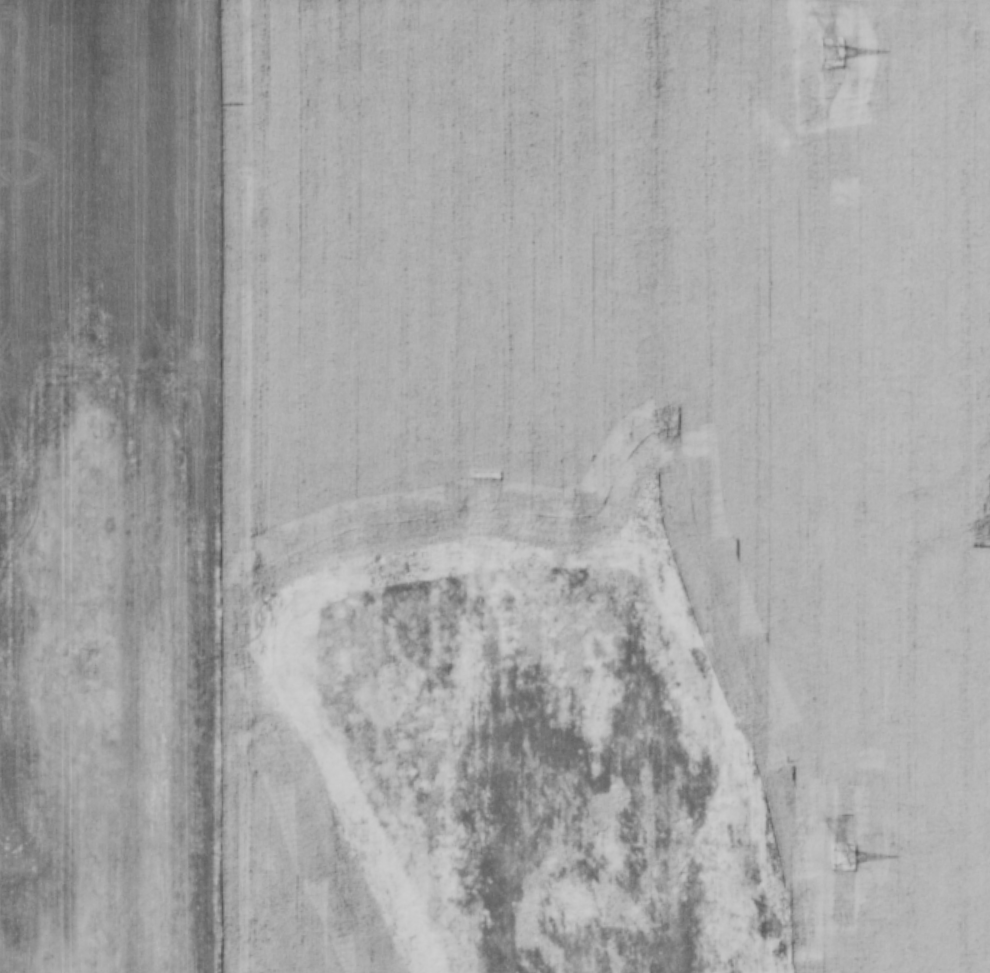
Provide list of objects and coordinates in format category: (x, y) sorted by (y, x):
power tower: (828, 51)
power tower: (841, 856)

